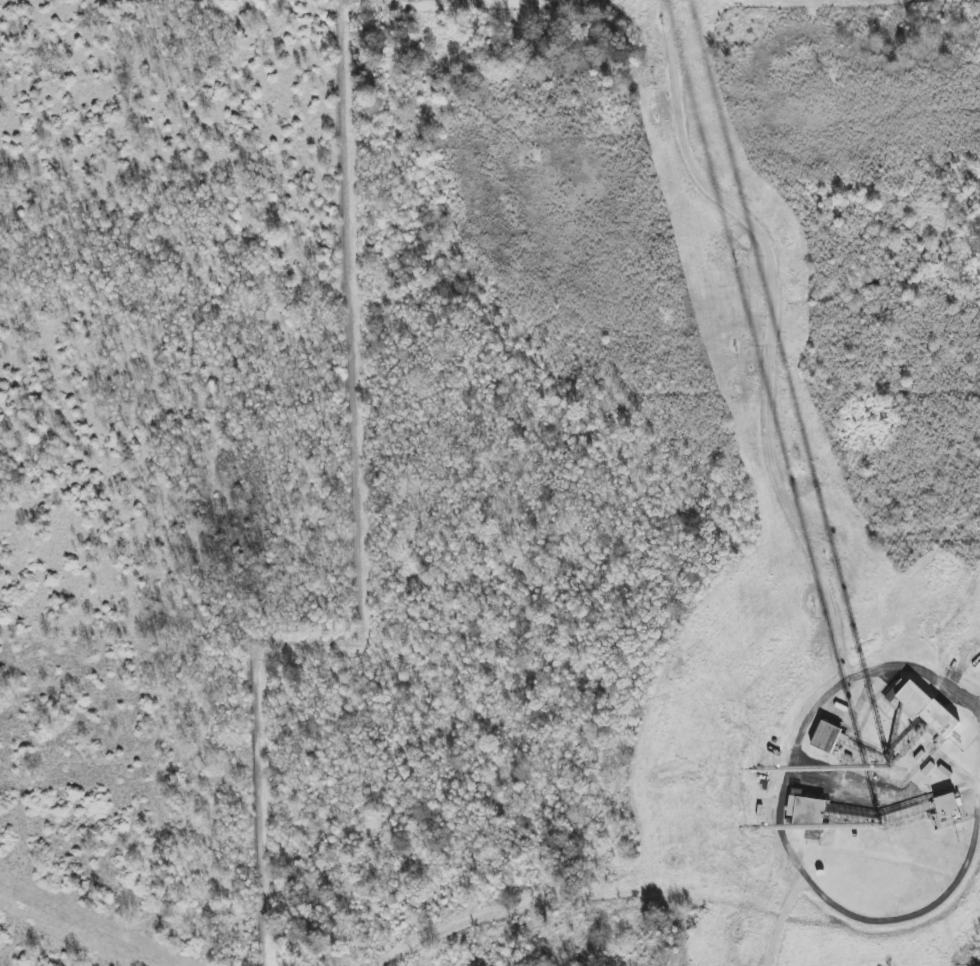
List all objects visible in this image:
building: (922, 709)
building: (826, 737)
building: (947, 806)
building: (806, 813)
road: (780, 828)

